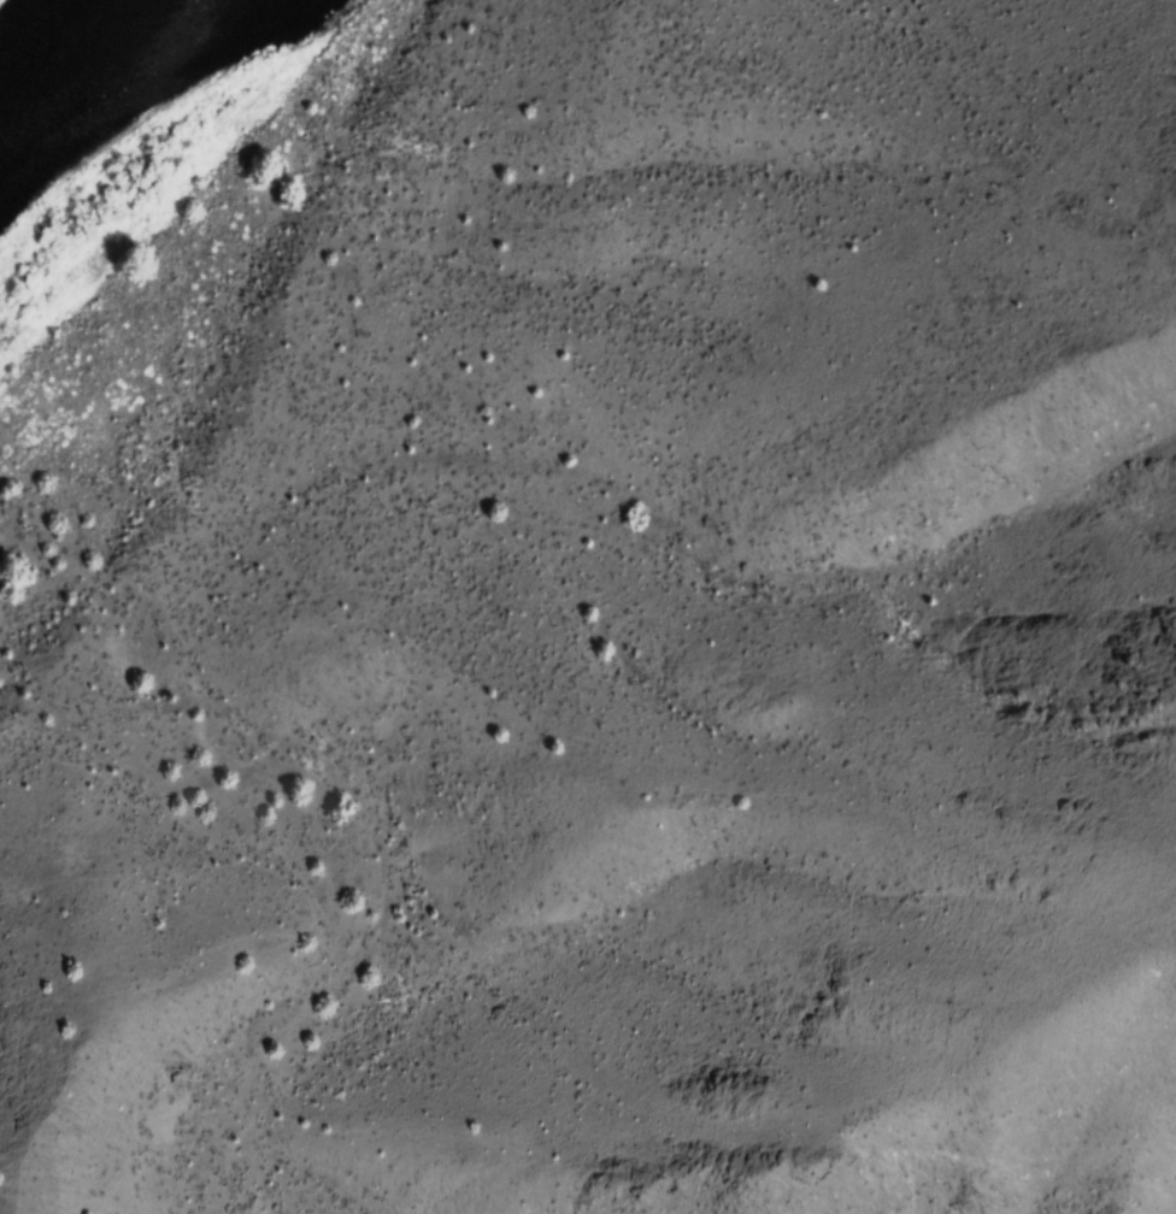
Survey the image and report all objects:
river: (69, 54)

